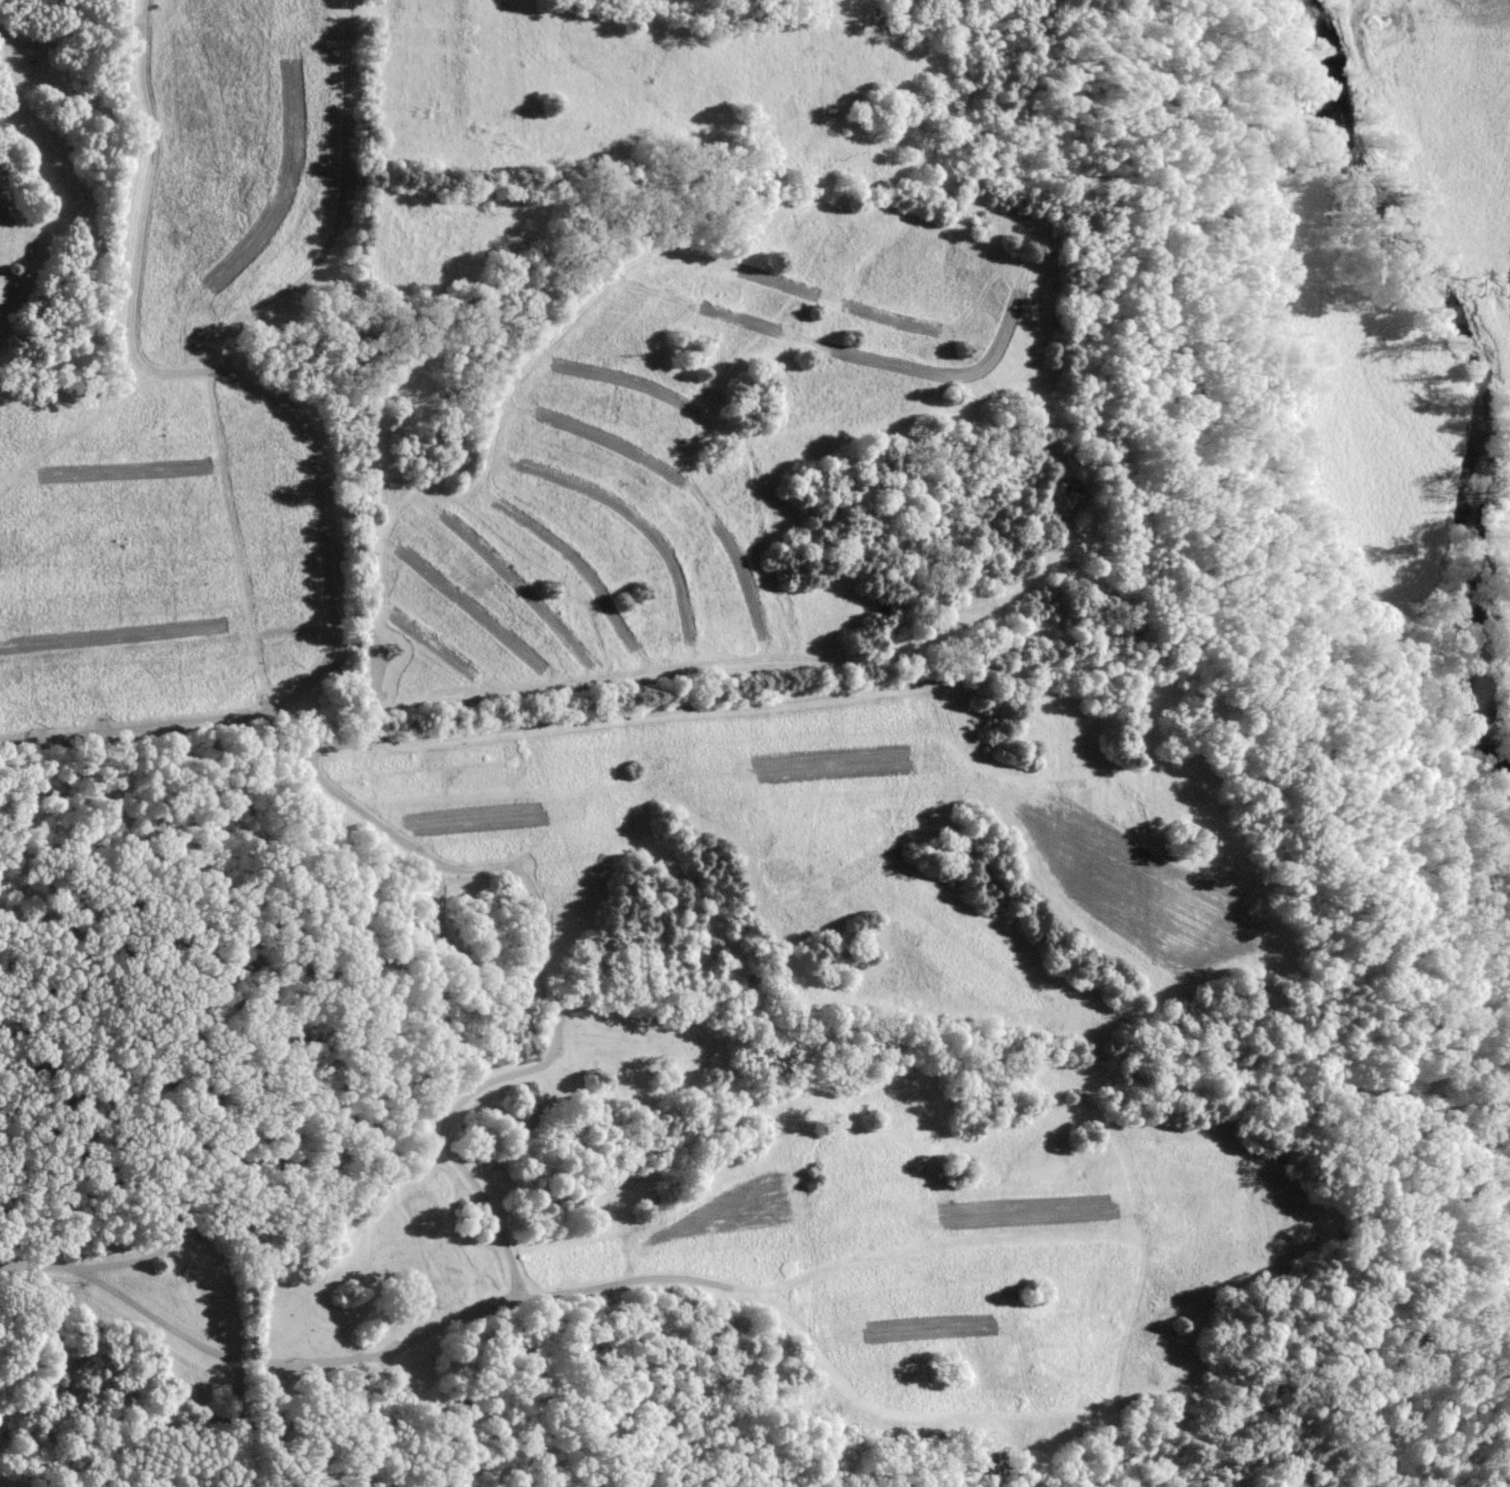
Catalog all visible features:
road: (1507, 615)

